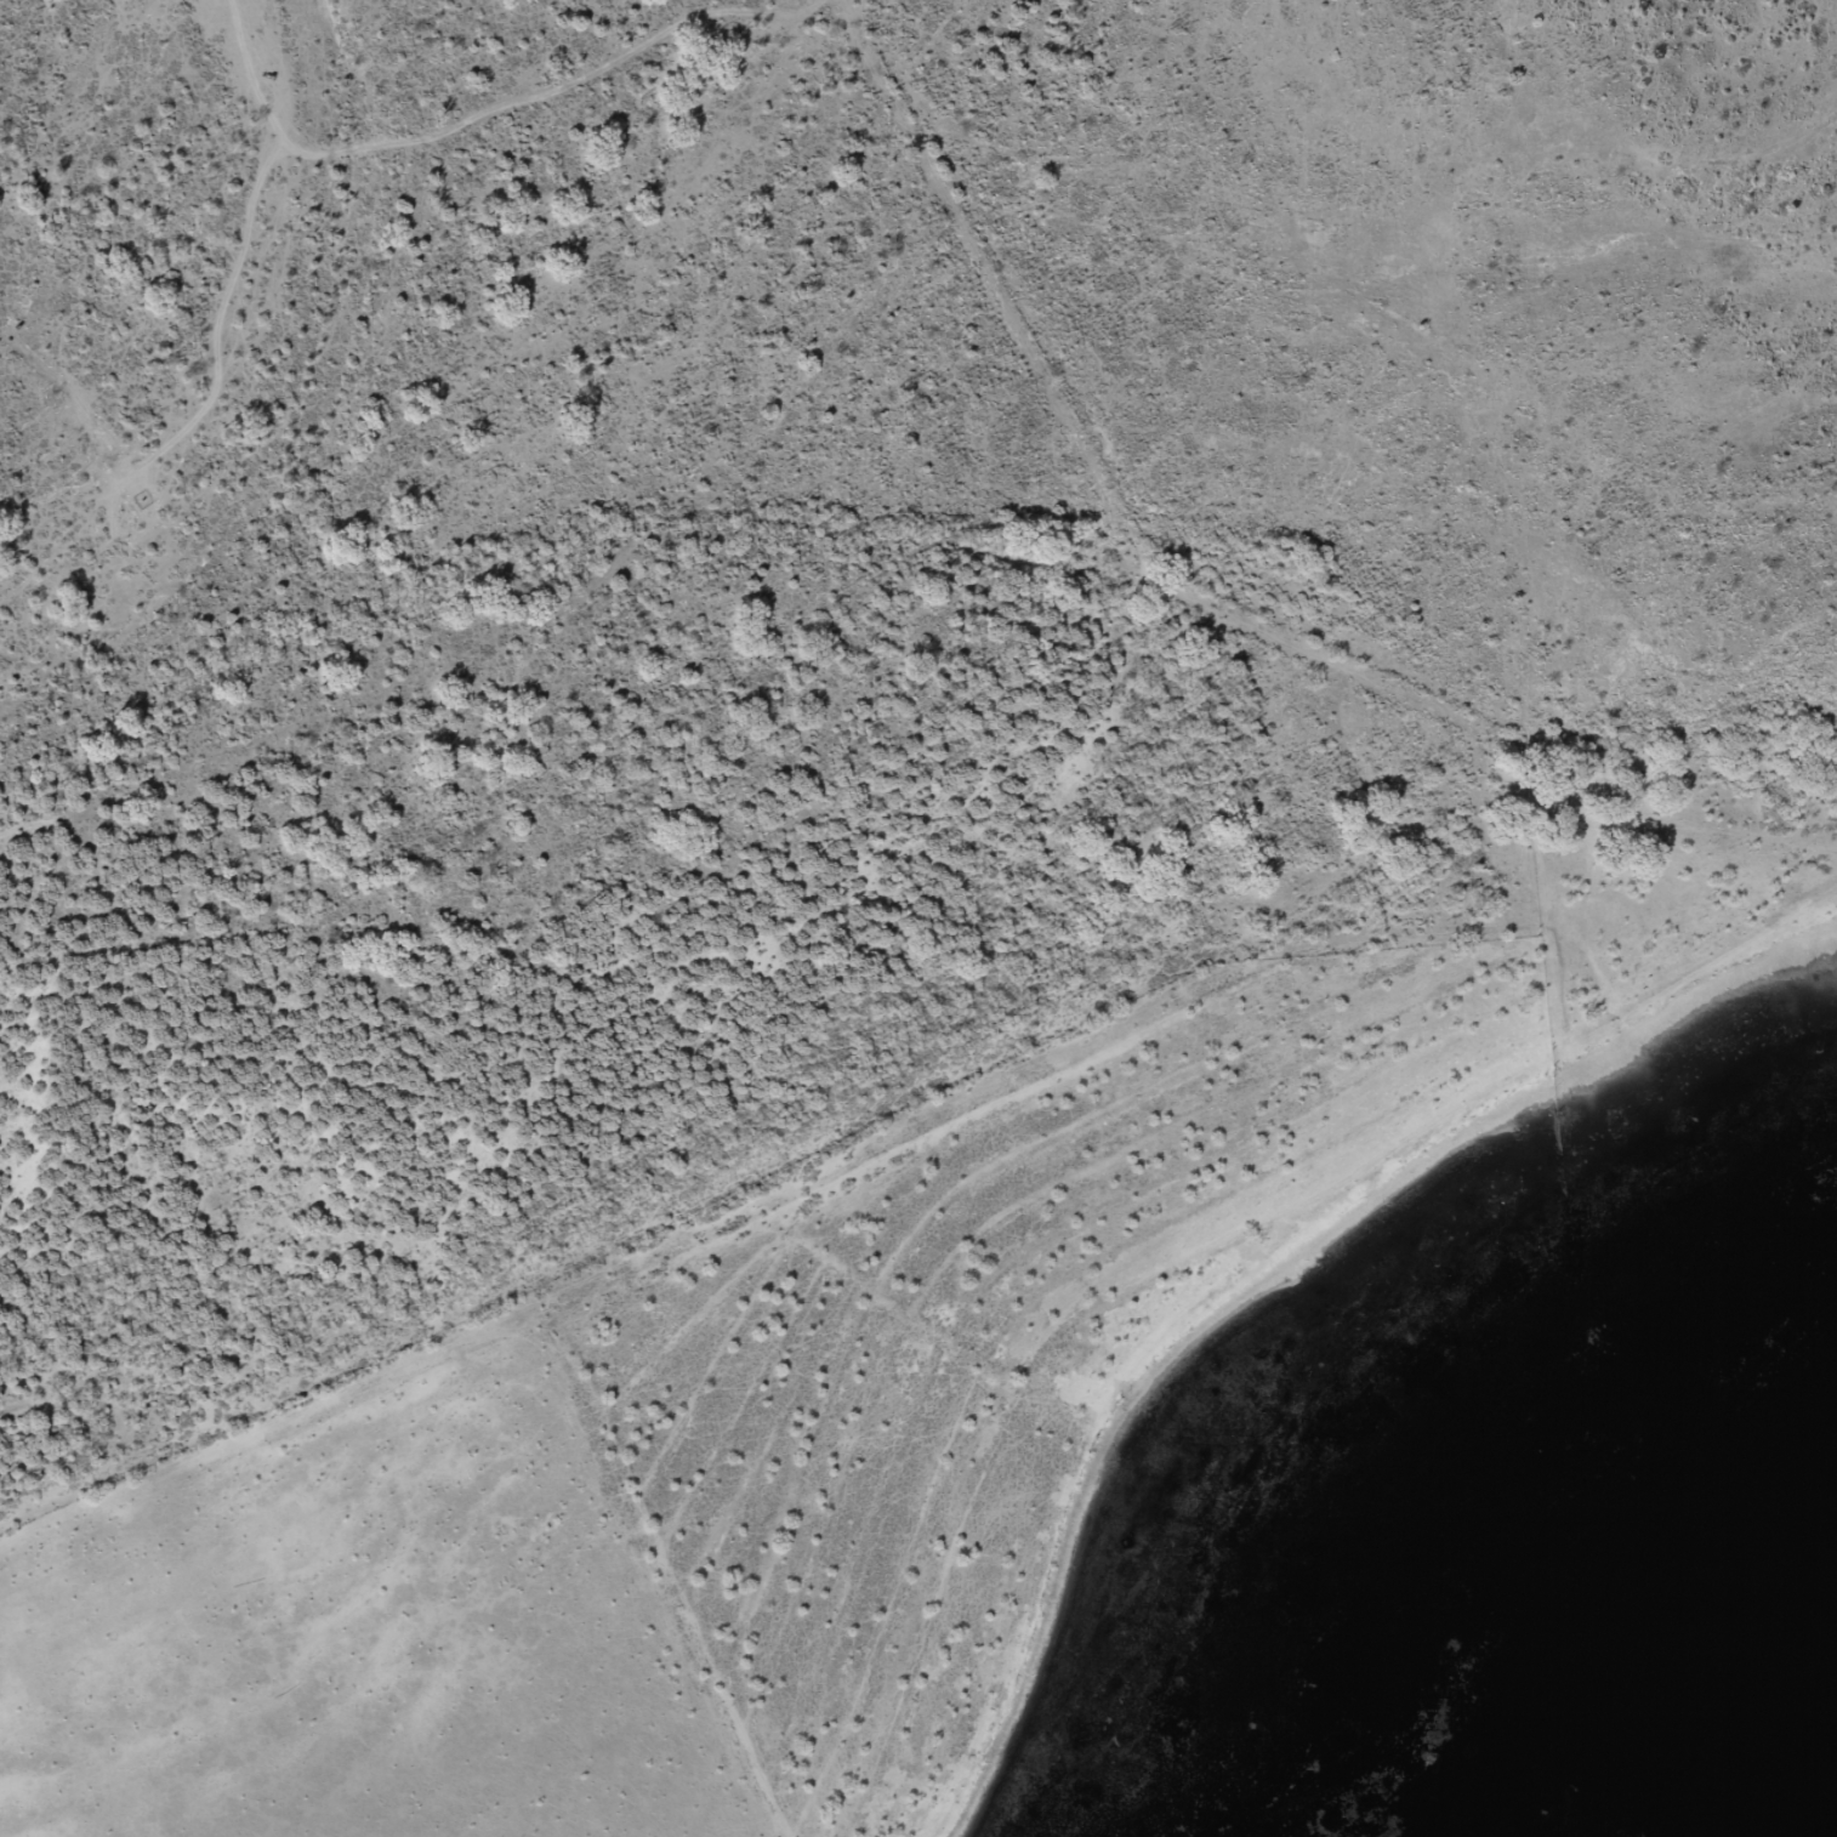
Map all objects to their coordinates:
road: (502, 154)

